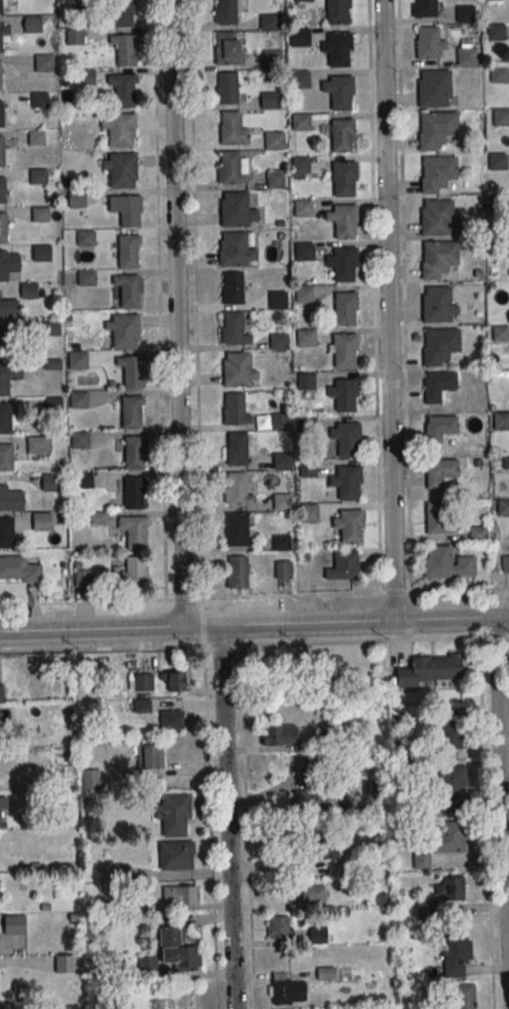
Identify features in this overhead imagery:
building: (303, 0)
building: (0, 7)
building: (424, 8)
building: (226, 12)
building: (337, 12)
building: (122, 13)
building: (465, 13)
building: (269, 21)
building: (32, 24)
building: (494, 32)
building: (300, 36)
building: (0, 42)
building: (431, 42)
building: (228, 47)
building: (338, 48)
building: (125, 49)
building: (467, 56)
building: (272, 59)
building: (44, 62)
building: (499, 74)
building: (300, 79)
building: (0, 81)
building: (227, 87)
building: (434, 88)
building: (123, 90)
building: (341, 92)
building: (39, 99)
building: (270, 100)
building: (1, 114)
building: (500, 117)
building: (300, 121)
building: (120, 129)
building: (232, 129)
building: (435, 129)
building: (342, 134)
building: (37, 137)
building: (272, 140)
building: (4, 154)
building: (497, 161)
building: (300, 167)
building: (120, 168)
building: (231, 168)
building: (437, 173)
building: (38, 175)
building: (344, 178)
building: (276, 179)
building: (2, 191)
building: (77, 198)
building: (303, 207)
building: (126, 209)
building: (237, 209)
building: (40, 213)
building: (439, 217)
building: (345, 221)
building: (3, 228)
building: (86, 238)
building: (236, 249)
building: (129, 251)
building: (304, 251)
building: (41, 252)
building: (438, 257)
building: (345, 264)
building: (3, 265)
building: (86, 277)
building: (233, 288)
building: (128, 289)
building: (29, 290)
building: (304, 293)
road: (403, 295)
road: (374, 296)
building: (278, 299)
building: (438, 304)
building: (8, 309)
building: (346, 309)
road: (389, 310)
road: (177, 313)
building: (234, 329)
building: (124, 330)
building: (306, 337)
building: (2, 341)
building: (279, 341)
building: (440, 345)
building: (344, 349)
building: (78, 359)
building: (239, 369)
building: (132, 370)
building: (4, 381)
building: (306, 381)
building: (439, 386)
building: (344, 395)
building: (79, 399)
building: (235, 410)
building: (131, 412)
building: (5, 418)
building: (500, 420)
building: (279, 421)
building: (440, 429)
building: (346, 438)
building: (80, 439)
building: (38, 444)
building: (237, 448)
building: (135, 452)
building: (6, 457)
building: (282, 460)
building: (308, 470)
building: (441, 473)
building: (84, 480)
building: (50, 482)
building: (347, 482)
building: (238, 490)
building: (134, 492)
building: (11, 498)
building: (282, 500)
building: (503, 507)
building: (310, 512)
building: (440, 518)
building: (42, 521)
building: (350, 525)
building: (238, 529)
building: (135, 531)
building: (6, 532)
building: (477, 533)
building: (282, 542)
building: (447, 562)
building: (505, 563)
building: (345, 565)
building: (19, 569)
building: (283, 570)
building: (239, 572)
building: (132, 573)
building: (83, 577)
road: (254, 595)
road: (254, 624)
building: (430, 669)
building: (177, 680)
building: (143, 682)
building: (0, 693)
road: (242, 707)
building: (172, 719)
building: (451, 733)
building: (280, 735)
road: (504, 735)
building: (150, 756)
road: (194, 771)
building: (90, 779)
building: (452, 789)
building: (309, 801)
building: (3, 804)
building: (174, 814)
road: (228, 816)
building: (443, 841)
building: (319, 849)
building: (174, 854)
building: (313, 893)
building: (179, 894)
building: (440, 896)
building: (371, 898)
building: (13, 924)
building: (279, 927)
building: (318, 935)
building: (178, 951)
building: (456, 951)
building: (64, 964)
building: (147, 968)
building: (280, 987)
building: (465, 995)

